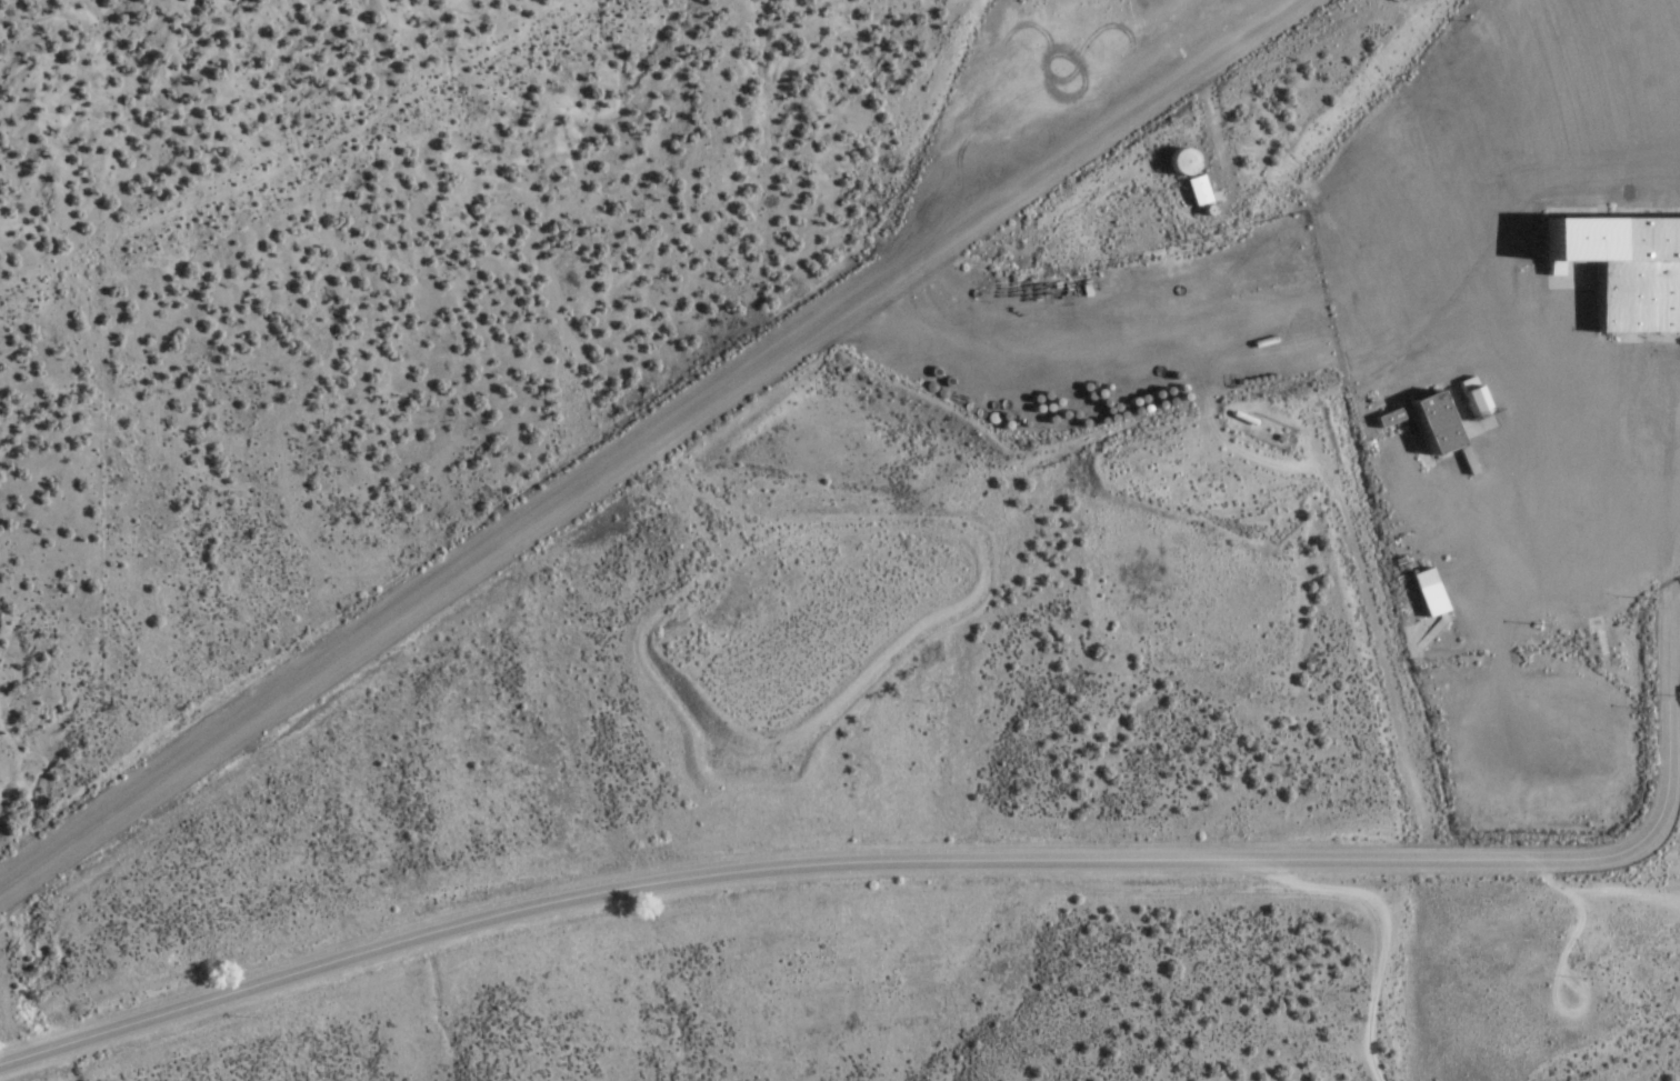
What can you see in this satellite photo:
building: (1176, 161)
building: (1193, 189)
building: (1614, 269)
building: (1386, 418)
building: (1424, 423)
road: (649, 442)
building: (1427, 592)
road: (856, 862)
road: (1377, 952)

